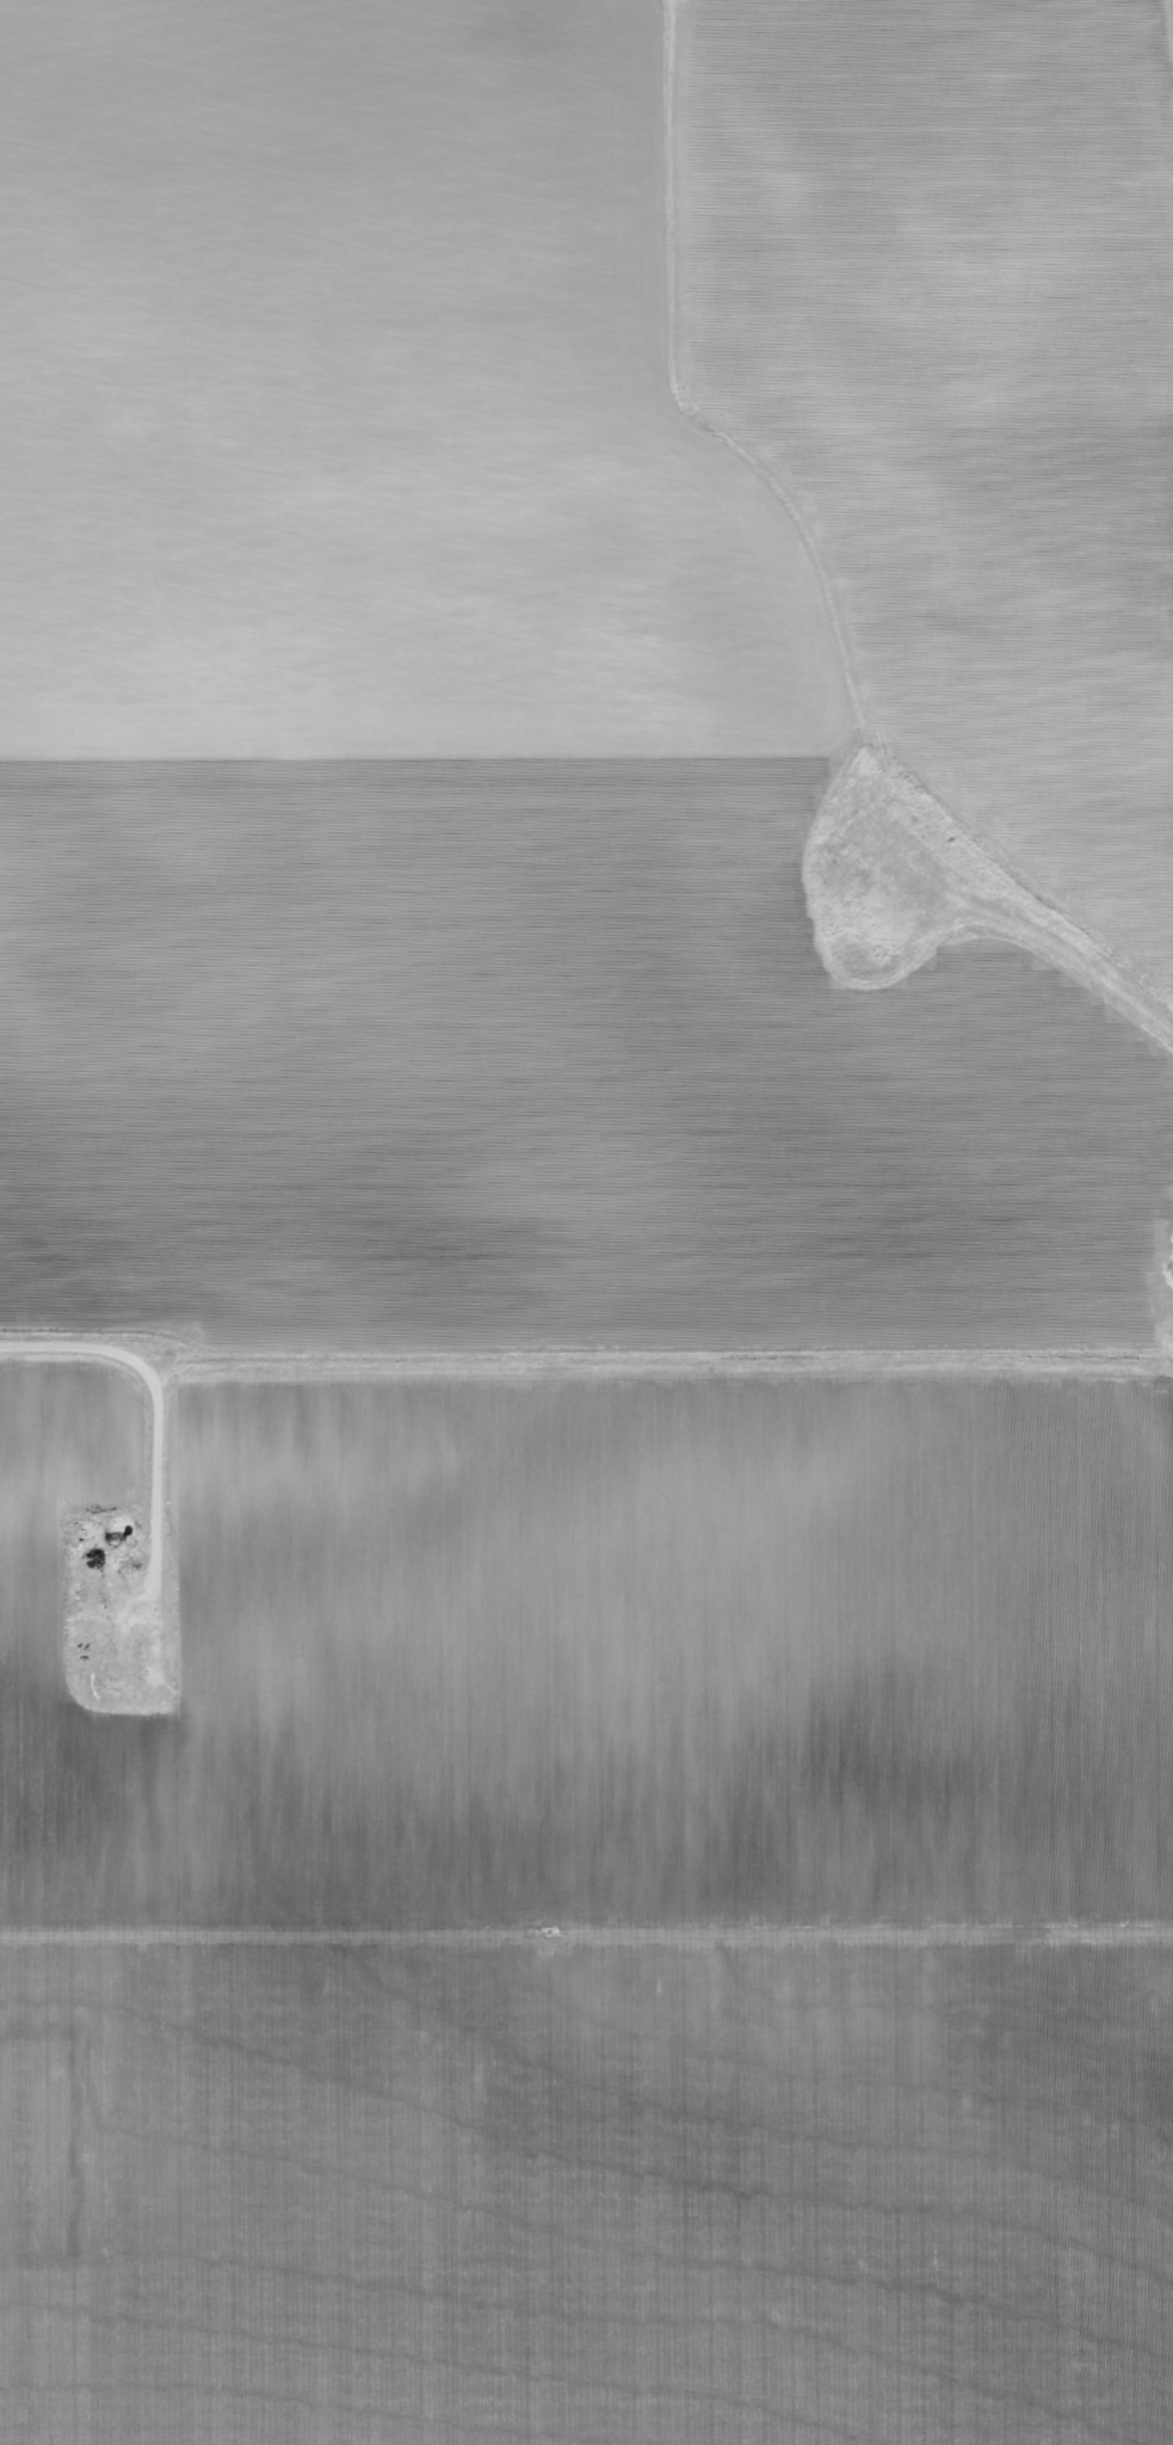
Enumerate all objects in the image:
road: (153, 1363)

